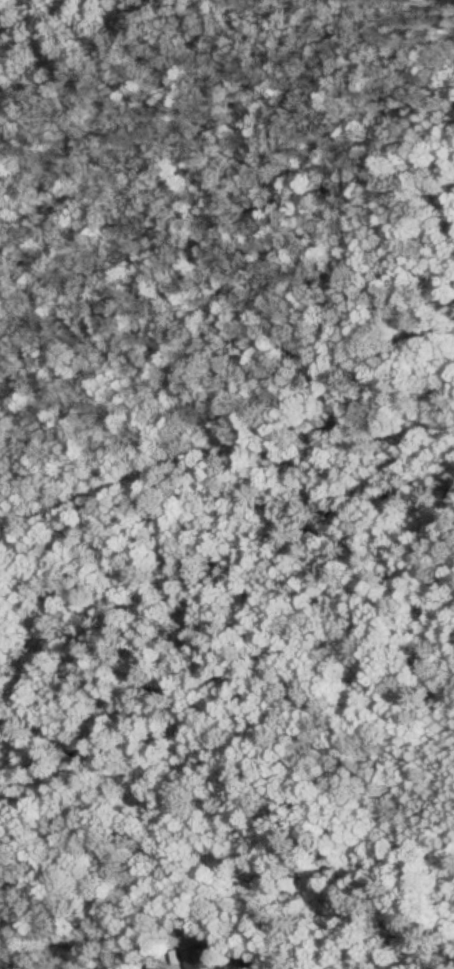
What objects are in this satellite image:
building: (208, 955)

